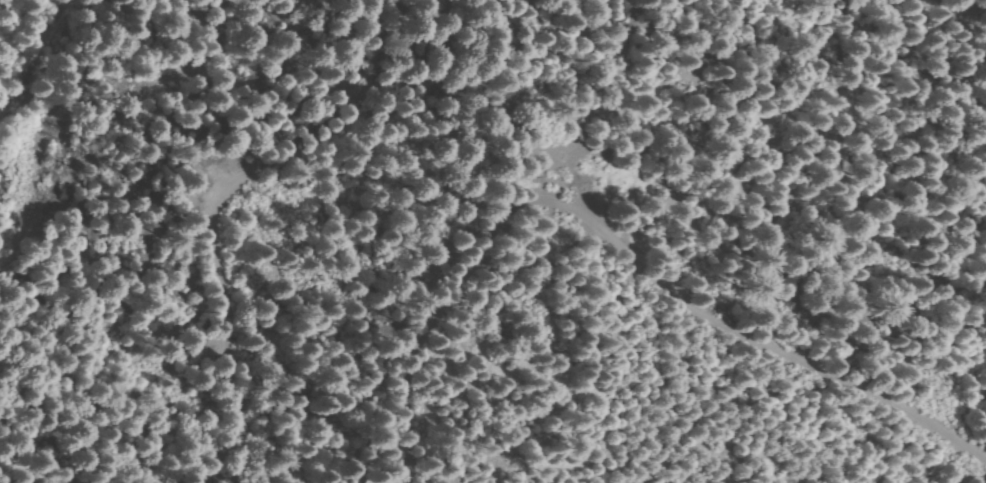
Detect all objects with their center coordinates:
road: (941, 1)
road: (55, 135)
road: (200, 204)
road: (625, 261)

